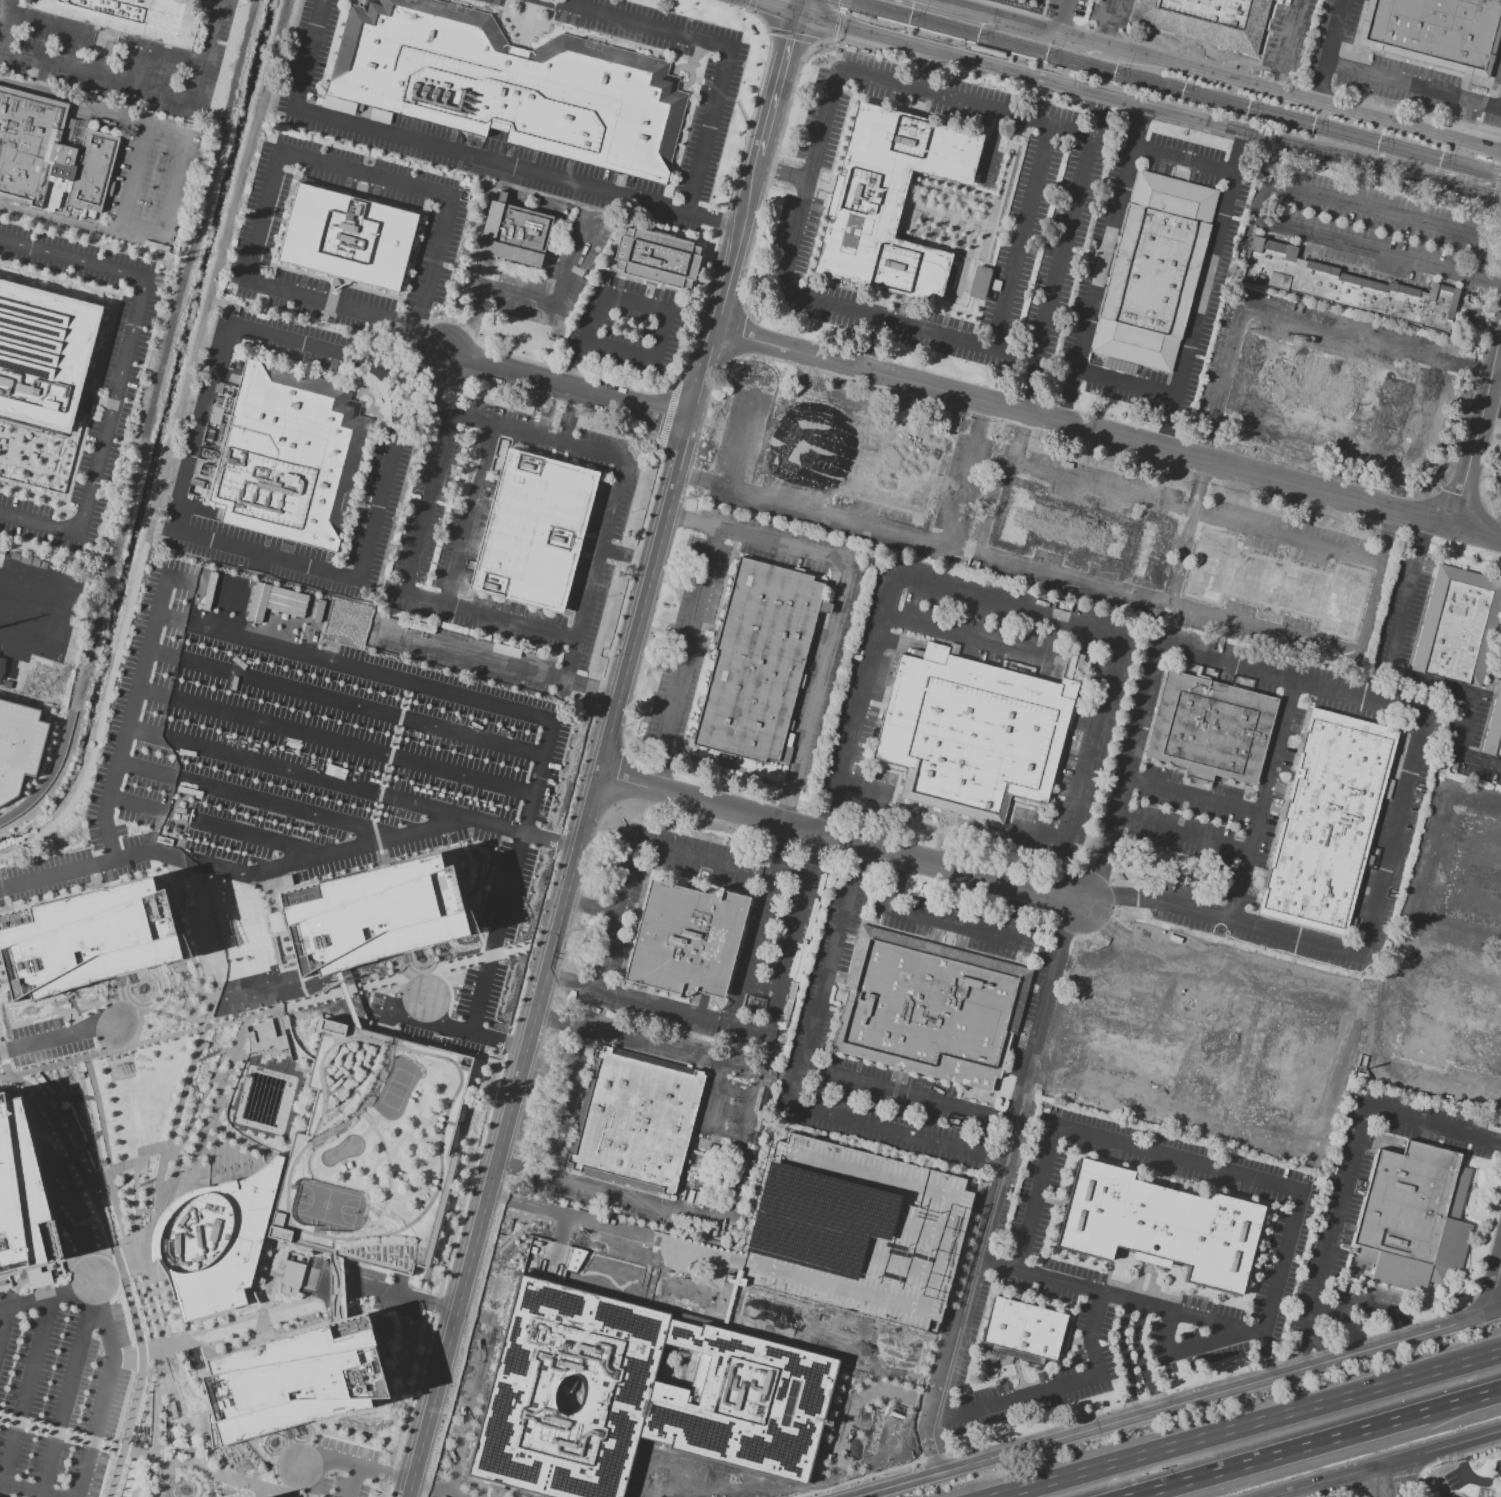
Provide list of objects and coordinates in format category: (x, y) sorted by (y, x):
building: (207, 0)
building: (199, 1)
road: (751, 6)
road: (771, 7)
road: (798, 7)
road: (2, 10)
road: (1110, 13)
traffic signals: (797, 15)
road: (859, 16)
road: (1063, 16)
building: (132, 17)
road: (839, 20)
building: (1207, 20)
road: (1016, 22)
road: (634, 23)
railway: (874, 25)
building: (1436, 32)
road: (1288, 34)
road: (1104, 35)
road: (1134, 35)
road: (102, 37)
road: (792, 37)
road: (1333, 37)
building: (987, 51)
road: (204, 52)
road: (308, 53)
road: (95, 77)
road: (1276, 80)
building: (510, 85)
railway: (1179, 85)
road: (1414, 85)
road: (778, 87)
road: (1081, 89)
road: (1320, 89)
railway: (1162, 90)
road: (719, 92)
road: (1301, 98)
road: (965, 101)
road: (94, 107)
road: (1480, 107)
road: (743, 113)
road: (1410, 114)
road: (1140, 122)
road: (1476, 124)
road: (782, 128)
road: (709, 130)
road: (1238, 152)
road: (498, 161)
park: (467, 162)
building: (49, 163)
road: (364, 176)
road: (134, 178)
road: (1263, 179)
road: (809, 182)
road: (1433, 182)
road: (1386, 187)
road: (172, 191)
road: (1496, 195)
road: (1326, 197)
building: (891, 205)
road: (721, 222)
road: (79, 223)
road: (1020, 236)
building: (516, 237)
building: (348, 238)
road: (719, 245)
road: (1364, 250)
road: (1063, 253)
road: (72, 256)
building: (656, 260)
road: (576, 262)
road: (432, 265)
road: (1101, 266)
building: (1155, 274)
building: (978, 282)
road: (1488, 284)
road: (1204, 285)
building: (1348, 287)
road: (265, 288)
road: (515, 295)
road: (636, 301)
road: (597, 318)
road: (886, 319)
road: (471, 324)
road: (1353, 335)
road: (660, 338)
road: (431, 342)
parking lot: (300, 343)
road: (615, 351)
building: (43, 353)
road: (163, 356)
road: (578, 364)
road: (1499, 367)
road: (1224, 369)
road: (1481, 369)
road: (421, 371)
road: (1124, 385)
road: (568, 386)
road: (110, 404)
building: (1321, 406)
road: (1064, 408)
road: (1493, 409)
road: (1422, 421)
road: (1108, 434)
road: (1024, 438)
road: (1477, 439)
road: (739, 440)
road: (1205, 446)
building: (853, 455)
building: (278, 456)
road: (694, 477)
road: (1401, 498)
road: (1198, 511)
road: (683, 517)
road: (38, 522)
building: (533, 530)
road: (898, 531)
building: (1080, 531)
road: (1188, 532)
road: (1421, 534)
parking lot: (221, 537)
road: (776, 542)
road: (18, 573)
road: (345, 579)
building: (1276, 584)
building: (274, 601)
road: (1004, 605)
road: (1181, 605)
road: (1401, 610)
building: (1460, 630)
road: (691, 631)
road: (23, 633)
road: (962, 638)
road: (1050, 640)
road: (480, 657)
building: (758, 662)
building: (1, 664)
road: (396, 681)
road: (1292, 682)
road: (1434, 682)
road: (817, 684)
road: (591, 687)
road: (861, 691)
road: (128, 714)
road: (1466, 724)
road: (580, 729)
building: (1211, 733)
building: (1495, 733)
building: (972, 734)
building: (18, 745)
parking garage: (18, 745)
road: (1086, 753)
road: (1479, 760)
road: (666, 764)
road: (48, 775)
road: (1124, 779)
road: (1192, 795)
road: (1262, 802)
road: (1475, 804)
road: (782, 811)
road: (828, 820)
building: (1327, 825)
road: (582, 827)
road: (1182, 834)
road: (776, 838)
road: (1393, 838)
road: (836, 840)
road: (815, 847)
road: (1433, 856)
road: (858, 857)
road: (700, 858)
park: (1138, 866)
road: (52, 874)
building: (1475, 875)
road: (1051, 881)
road: (1020, 899)
road: (465, 901)
building: (373, 914)
road: (474, 914)
road: (615, 914)
road: (1219, 919)
road: (948, 924)
road: (1014, 924)
road: (1459, 926)
road: (750, 938)
building: (89, 939)
building: (684, 943)
road: (790, 946)
road: (1209, 959)
road: (524, 967)
road: (1455, 971)
road: (556, 978)
road: (1207, 980)
road: (1129, 981)
road: (453, 983)
road: (447, 984)
road: (824, 984)
road: (453, 1002)
road: (668, 1006)
road: (263, 1011)
building: (931, 1012)
road: (1389, 1012)
road: (549, 1018)
road: (455, 1028)
building: (1448, 1029)
building: (269, 1036)
road: (410, 1038)
road: (45, 1040)
building: (1135, 1044)
road: (659, 1047)
building: (1265, 1063)
road: (1328, 1072)
road: (1441, 1084)
park: (396, 1088)
road: (908, 1095)
road: (713, 1096)
road: (569, 1101)
road: (1168, 1108)
building: (634, 1122)
road: (1431, 1125)
road: (889, 1132)
road: (1499, 1143)
road: (740, 1148)
building: (373, 1150)
parking lot: (373, 1150)
road: (1177, 1157)
road: (996, 1161)
road: (1001, 1167)
road: (710, 1178)
building: (23, 1195)
road: (1035, 1197)
road: (633, 1199)
park: (325, 1204)
road: (981, 1204)
building: (1416, 1218)
road: (1333, 1225)
building: (855, 1231)
parking garage: (855, 1231)
building: (1162, 1231)
road: (664, 1241)
building: (214, 1242)
building: (290, 1278)
road: (1275, 1284)
road: (47, 1293)
road: (1496, 1293)
road: (401, 1294)
road: (1120, 1297)
road: (1353, 1302)
road: (2, 1316)
road: (951, 1317)
park: (785, 1319)
road: (1404, 1324)
road: (1391, 1328)
road: (1165, 1330)
building: (1024, 1332)
road: (1225, 1332)
road: (1090, 1334)
road: (1311, 1343)
road: (1195, 1346)
road: (1125, 1357)
road: (1140, 1358)
building: (293, 1383)
road: (67, 1386)
road: (104, 1388)
road: (26, 1389)
road: (477, 1390)
road: (864, 1393)
building: (637, 1396)
road: (1017, 1397)
road: (1180, 1404)
road: (1256, 1424)
road: (1316, 1444)
road: (938, 1452)
road: (147, 1457)
road: (342, 1464)
road: (1392, 1466)
road: (1468, 1477)
road: (855, 1478)
road: (1392, 1481)
road: (352, 1482)
road: (1389, 1487)
road: (1, 1488)
road: (24, 1490)
road: (435, 1490)
road: (1339, 1492)
road: (37, 1495)

